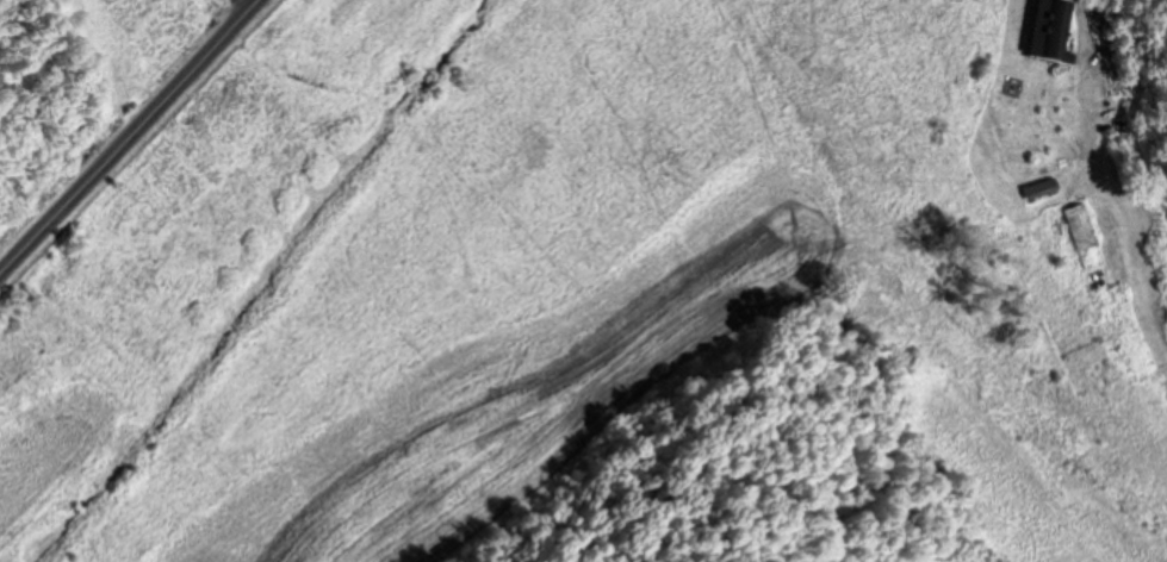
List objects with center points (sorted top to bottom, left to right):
building: (1049, 29)
road: (1084, 58)
road: (128, 136)
building: (1081, 225)

